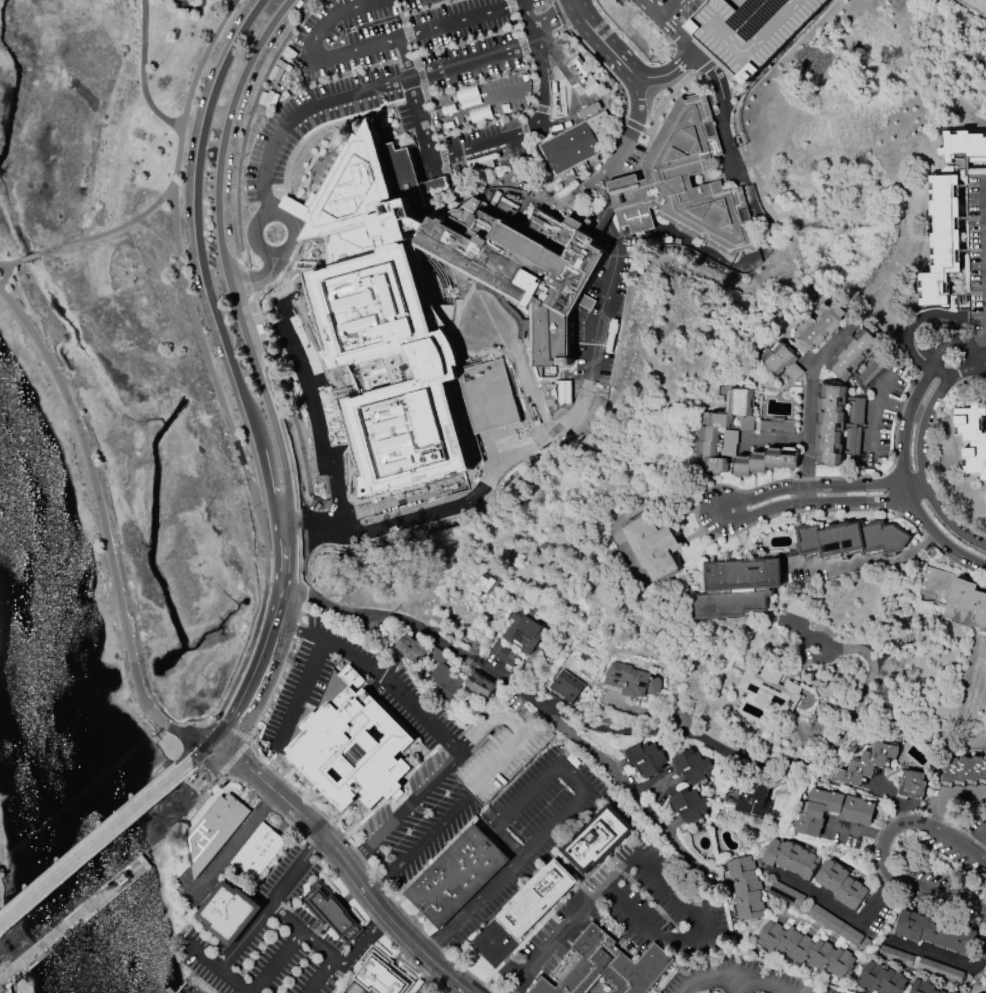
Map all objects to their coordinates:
building: (975, 6)
road: (650, 9)
road: (668, 9)
road: (553, 17)
road: (331, 20)
road: (528, 20)
road: (461, 21)
building: (748, 32)
road: (354, 51)
road: (472, 59)
road: (541, 61)
road: (679, 62)
road: (191, 87)
road: (367, 89)
road: (575, 92)
road: (131, 94)
road: (631, 97)
road: (484, 99)
road: (157, 108)
road: (722, 108)
building: (577, 143)
road: (272, 145)
building: (963, 146)
road: (220, 152)
road: (446, 154)
building: (684, 184)
road: (107, 198)
road: (275, 214)
road: (158, 233)
road: (92, 235)
building: (941, 241)
road: (201, 260)
road: (249, 281)
building: (373, 309)
road: (468, 309)
park: (128, 315)
road: (596, 323)
building: (818, 327)
road: (916, 327)
road: (952, 335)
building: (857, 358)
road: (985, 359)
building: (782, 362)
road: (968, 364)
road: (883, 385)
road: (530, 391)
building: (563, 392)
building: (489, 396)
road: (810, 397)
road: (318, 401)
road: (872, 412)
road: (908, 413)
road: (272, 419)
road: (925, 421)
building: (776, 424)
building: (838, 425)
building: (710, 430)
building: (972, 438)
building: (728, 443)
building: (765, 461)
road: (244, 471)
road: (818, 487)
road: (458, 504)
road: (821, 504)
road: (314, 519)
road: (945, 520)
road: (108, 533)
road: (934, 536)
road: (319, 538)
building: (849, 538)
building: (652, 547)
road: (861, 559)
building: (485, 584)
building: (937, 586)
building: (735, 587)
building: (967, 605)
building: (524, 633)
road: (274, 639)
building: (412, 646)
building: (444, 672)
road: (379, 674)
building: (631, 680)
building: (481, 685)
building: (566, 686)
road: (513, 688)
building: (769, 689)
road: (298, 695)
river: (59, 734)
traffic signals: (224, 748)
building: (353, 750)
road: (218, 755)
building: (646, 759)
road: (557, 764)
building: (866, 764)
road: (190, 765)
building: (692, 766)
road: (758, 766)
building: (965, 769)
road: (206, 770)
building: (911, 784)
building: (754, 802)
road: (894, 803)
building: (690, 805)
building: (832, 810)
road: (404, 811)
building: (213, 831)
road: (853, 832)
road: (971, 834)
building: (597, 839)
road: (232, 845)
road: (417, 847)
road: (881, 851)
building: (257, 852)
road: (91, 857)
road: (383, 858)
building: (791, 858)
road: (102, 866)
road: (349, 867)
building: (456, 876)
building: (841, 885)
building: (745, 888)
building: (786, 893)
building: (536, 898)
road: (270, 902)
road: (476, 907)
road: (840, 907)
building: (229, 913)
building: (332, 913)
road: (285, 917)
road: (702, 920)
building: (838, 927)
building: (935, 931)
road: (556, 938)
road: (363, 941)
road: (317, 944)
building: (805, 949)
road: (504, 953)
road: (939, 953)
building: (895, 956)
road: (277, 962)
building: (608, 966)
road: (218, 969)
building: (939, 971)
building: (985, 971)
building: (985, 971)
building: (382, 974)
building: (985, 974)
road: (320, 975)
road: (720, 975)
building: (880, 978)
road: (430, 981)
building: (922, 987)
road: (756, 988)
road: (774, 988)
building: (955, 992)

